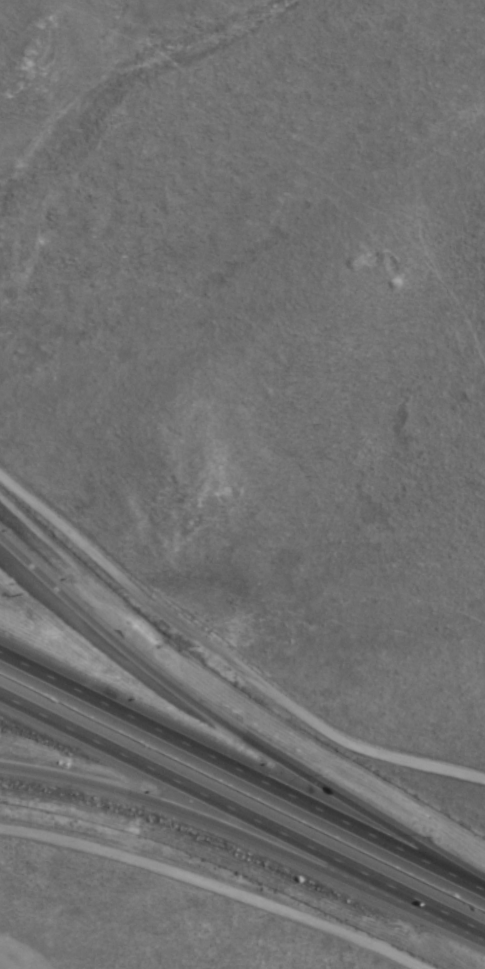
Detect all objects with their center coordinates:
road: (221, 714)
road: (242, 769)
road: (242, 811)
road: (202, 814)

